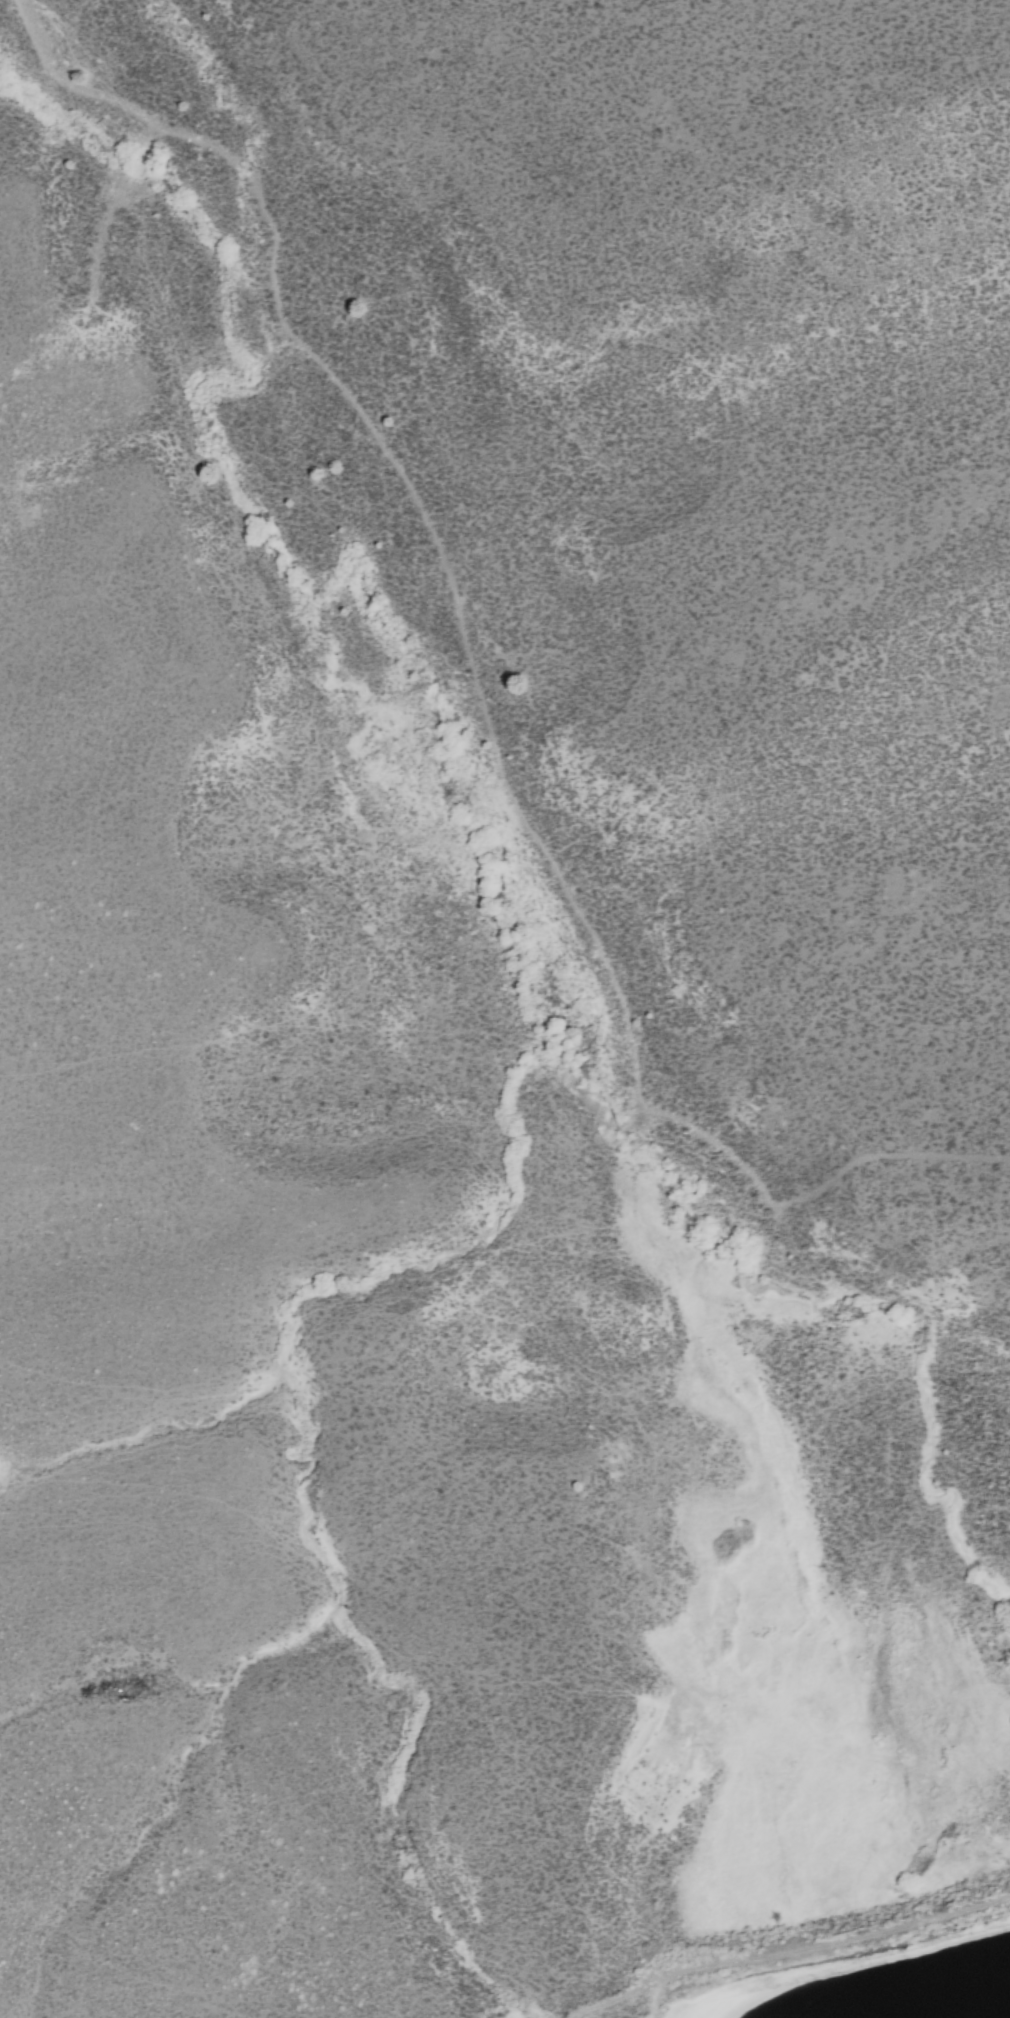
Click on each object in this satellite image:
dam: (811, 1935)

